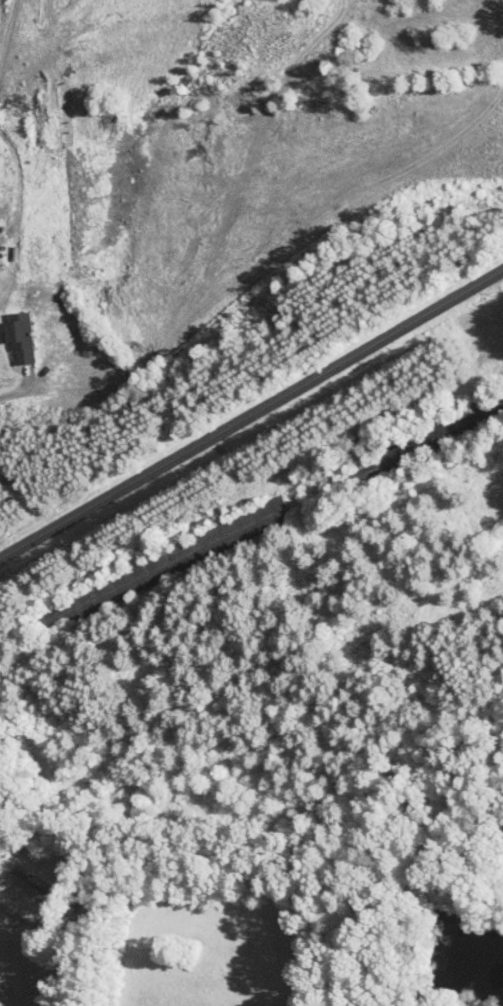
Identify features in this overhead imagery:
road: (9, 35)
building: (9, 332)
road: (18, 390)
road: (251, 413)

